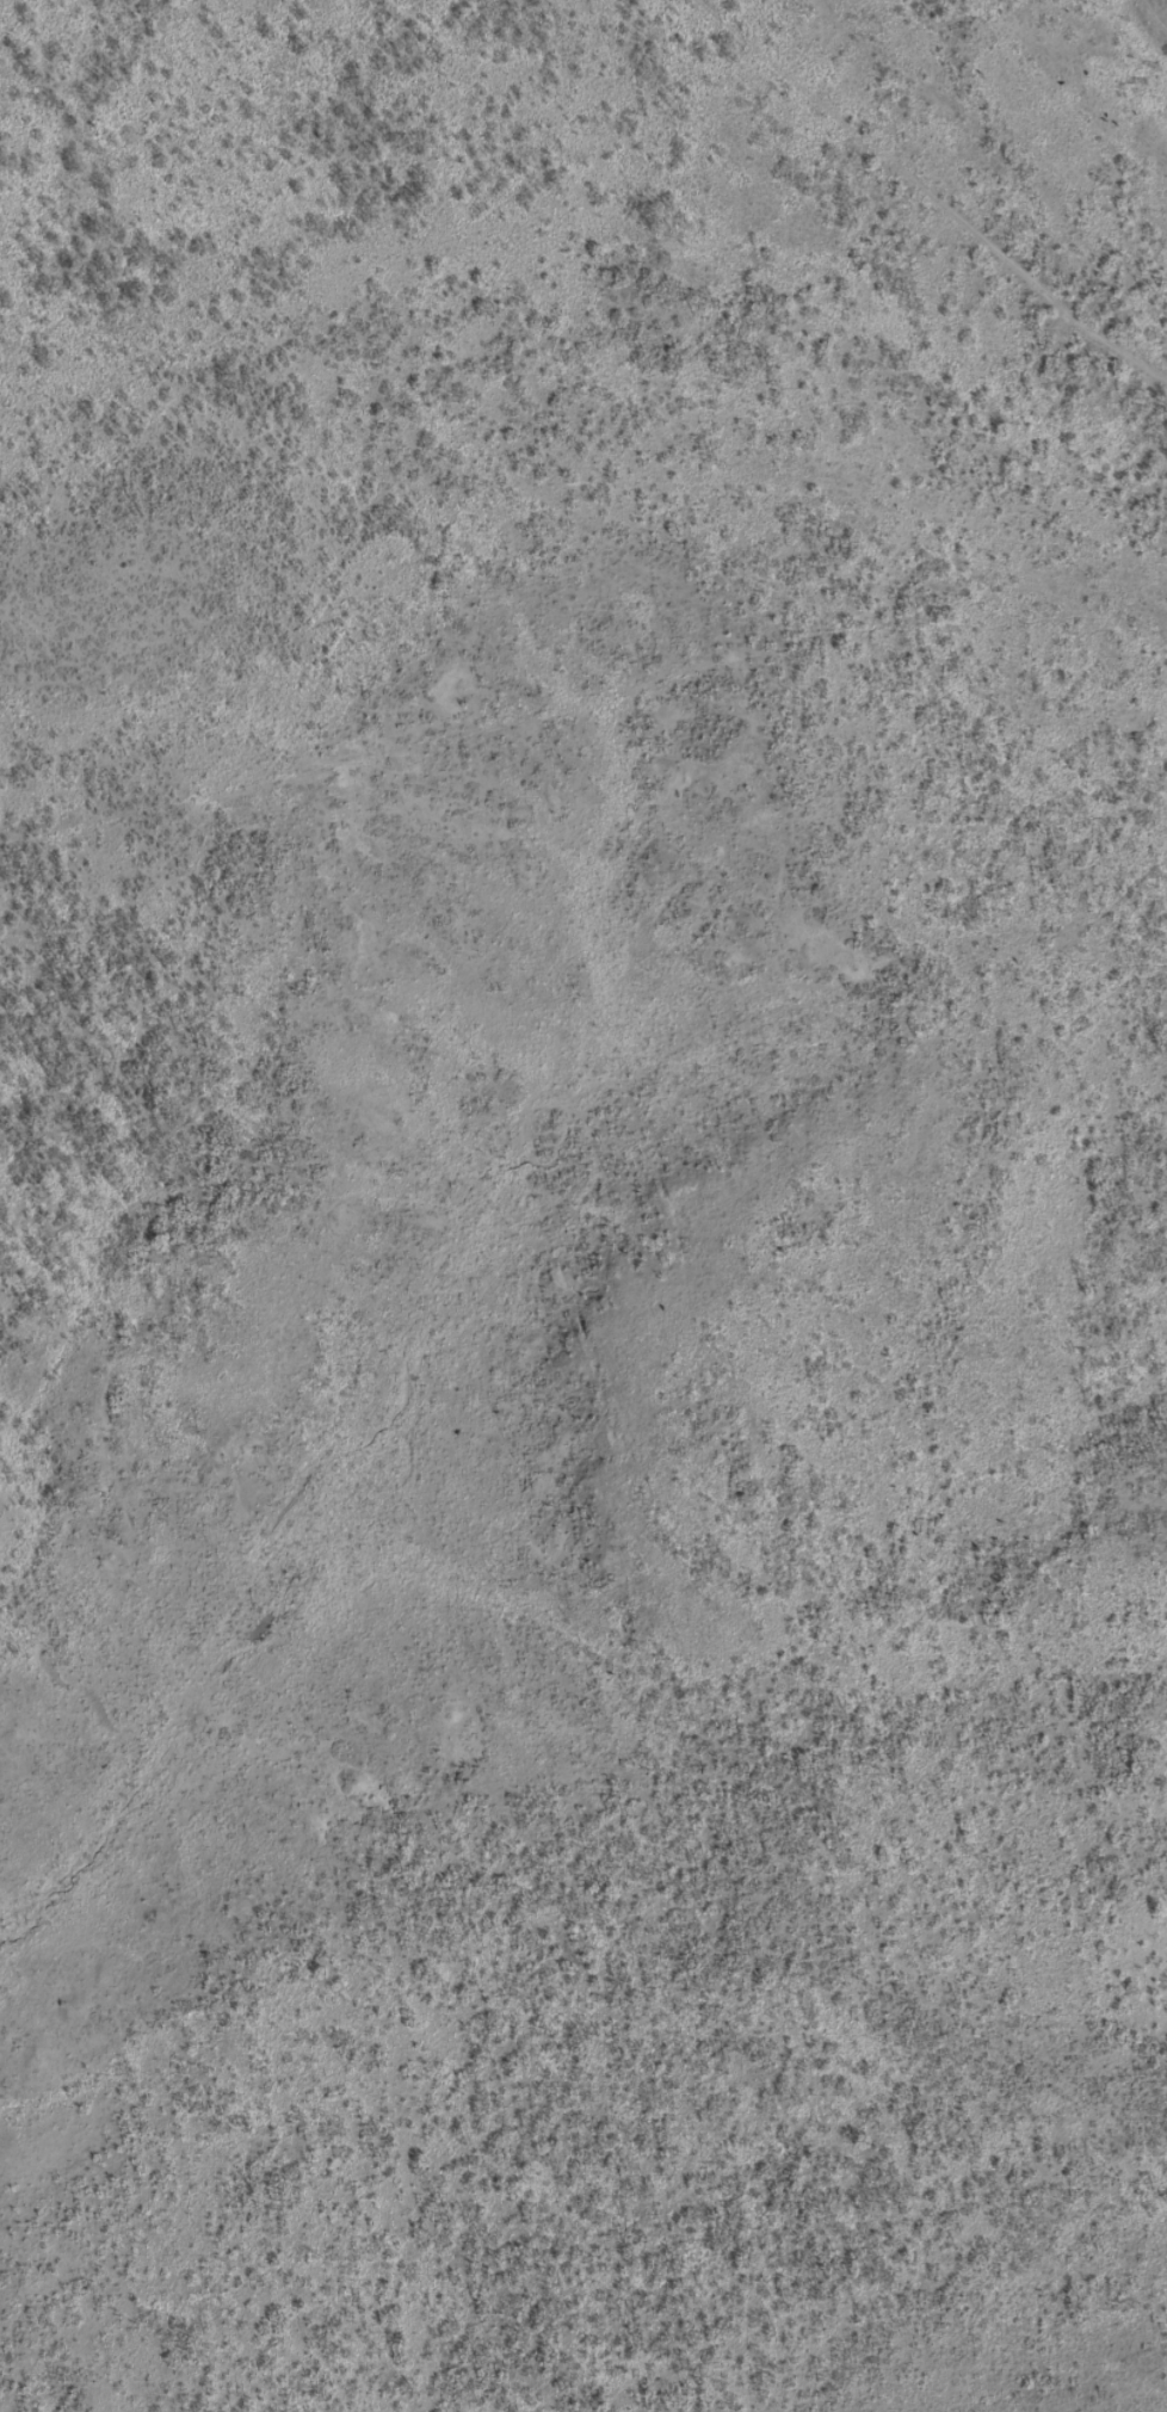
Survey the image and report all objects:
road: (964, 187)

